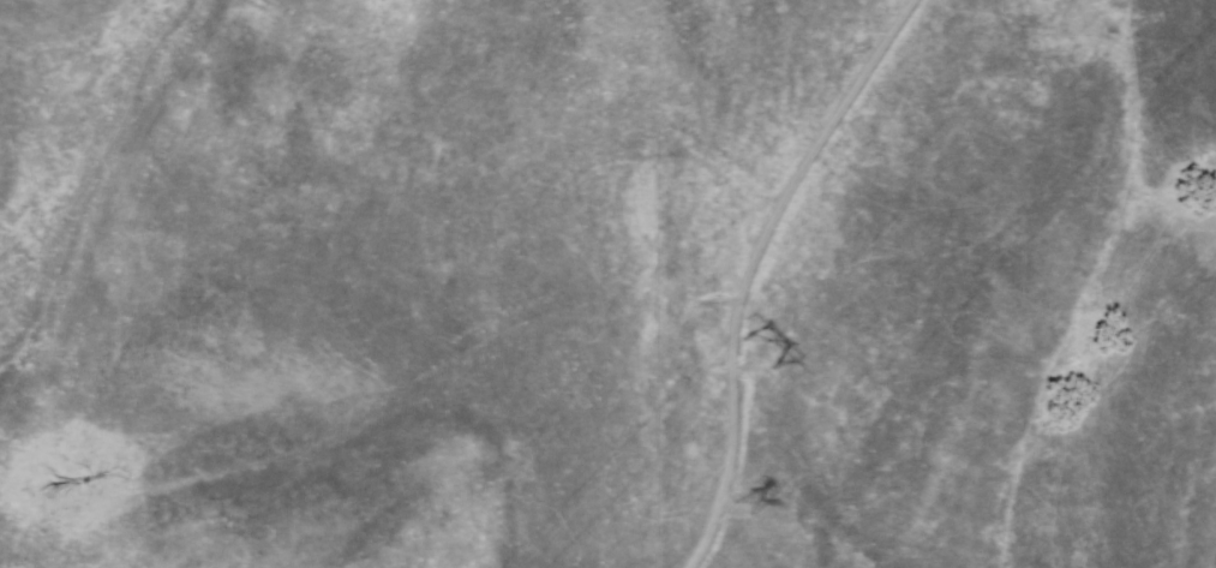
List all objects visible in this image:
road: (753, 265)
power tower: (756, 348)
power tower: (748, 504)

